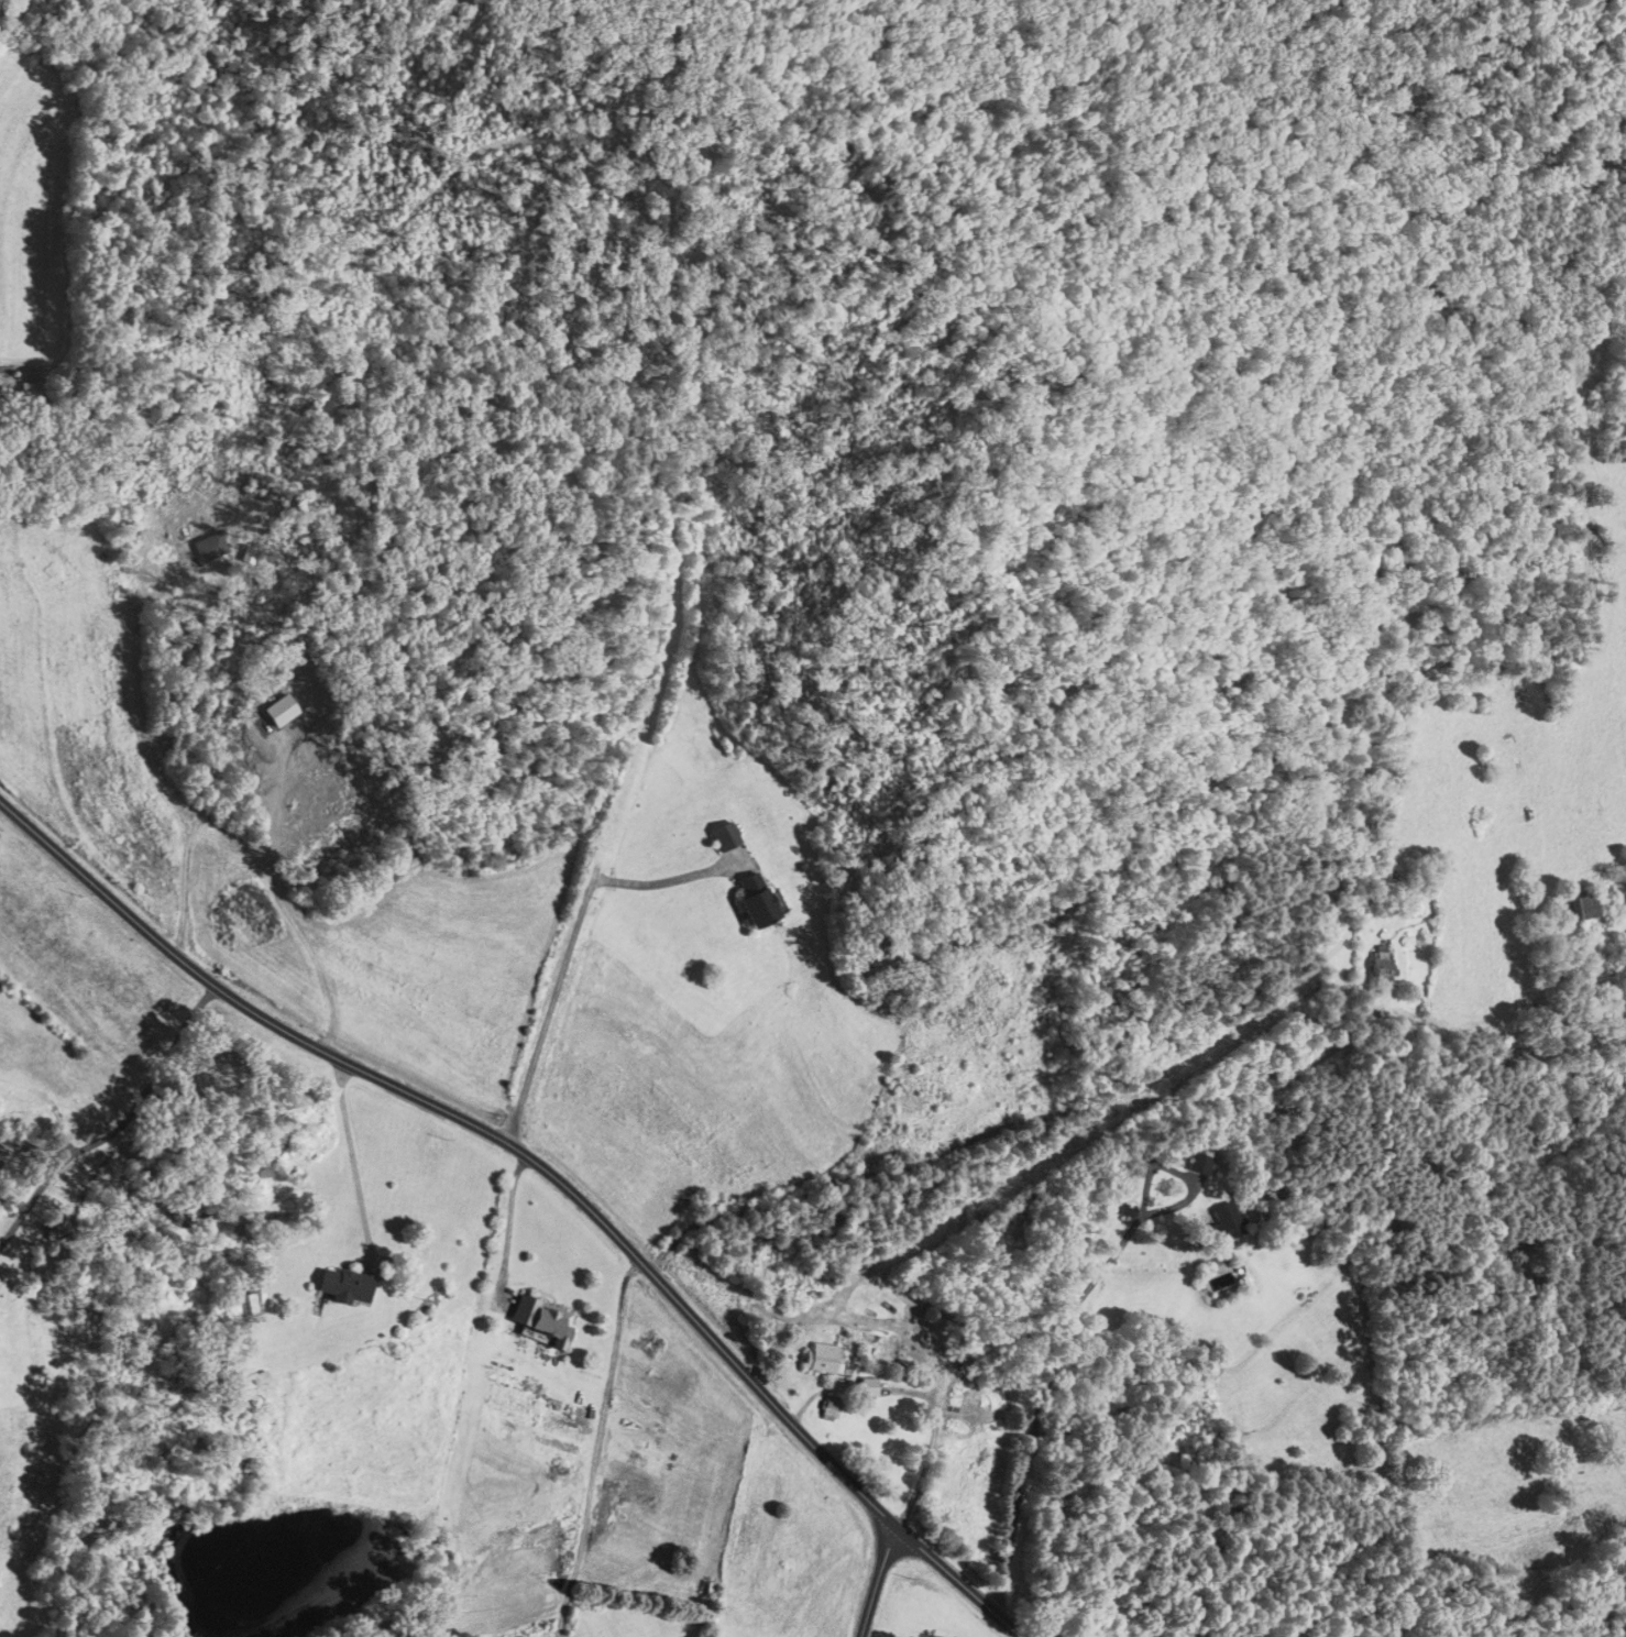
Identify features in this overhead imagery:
building: (29, 391)
building: (248, 557)
building: (724, 838)
road: (660, 882)
building: (754, 903)
building: (1581, 910)
road: (284, 915)
building: (1381, 966)
road: (548, 1010)
road: (116, 1123)
road: (974, 1136)
road: (350, 1154)
building: (1198, 1163)
road: (547, 1172)
building: (1226, 1221)
road: (507, 1223)
building: (343, 1285)
building: (242, 1307)
building: (542, 1319)
building: (825, 1358)
building: (256, 1377)
building: (494, 1394)
building: (955, 1407)
building: (830, 1408)
road: (593, 1446)
building: (442, 1550)
road: (877, 1581)

